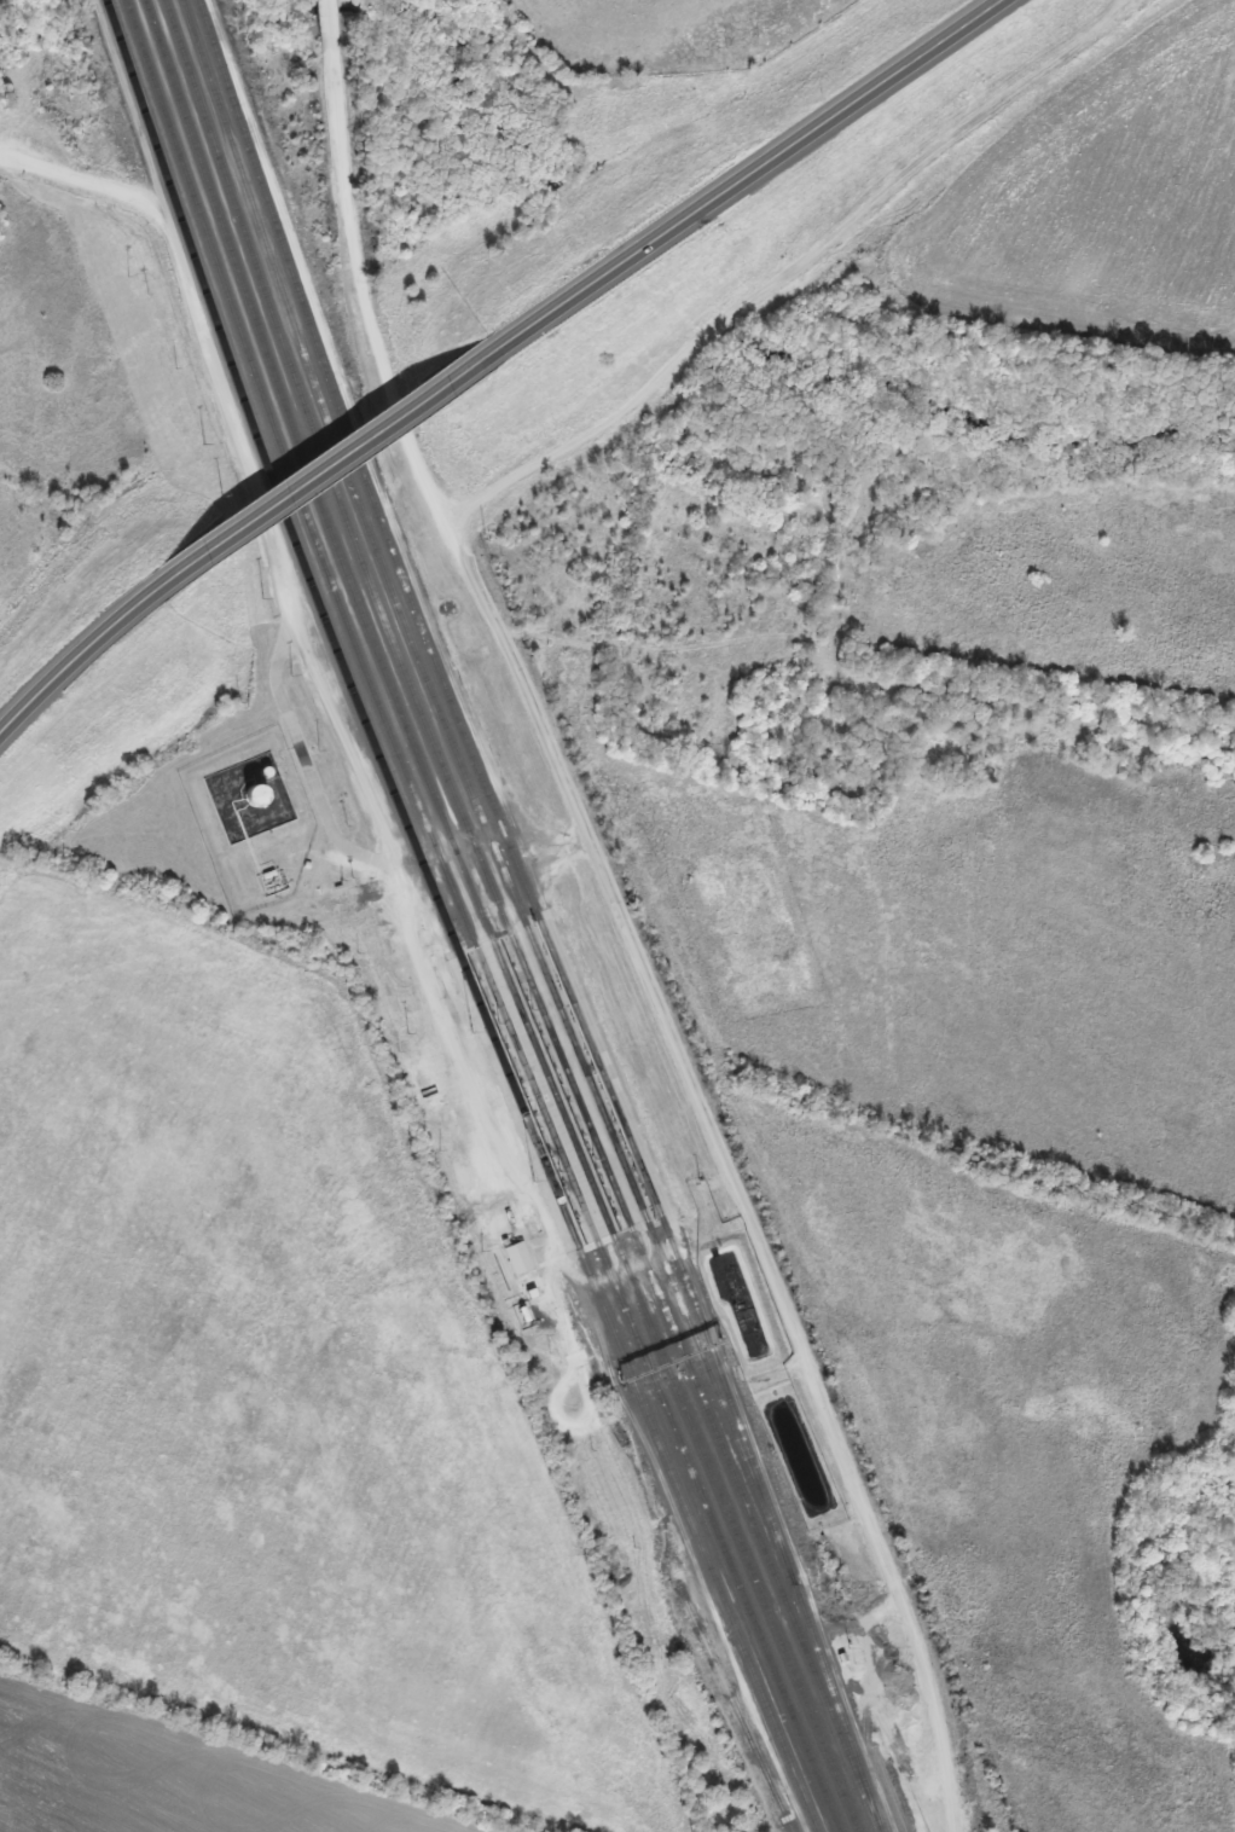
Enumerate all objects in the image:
road: (750, 169)
road: (337, 462)
road: (86, 662)
railway: (477, 767)
building: (260, 796)
railway: (524, 918)
railway: (509, 921)
railway: (446, 922)
railway: (465, 922)
railway: (486, 922)
building: (521, 1258)
railway: (736, 1706)
railway: (891, 1788)

